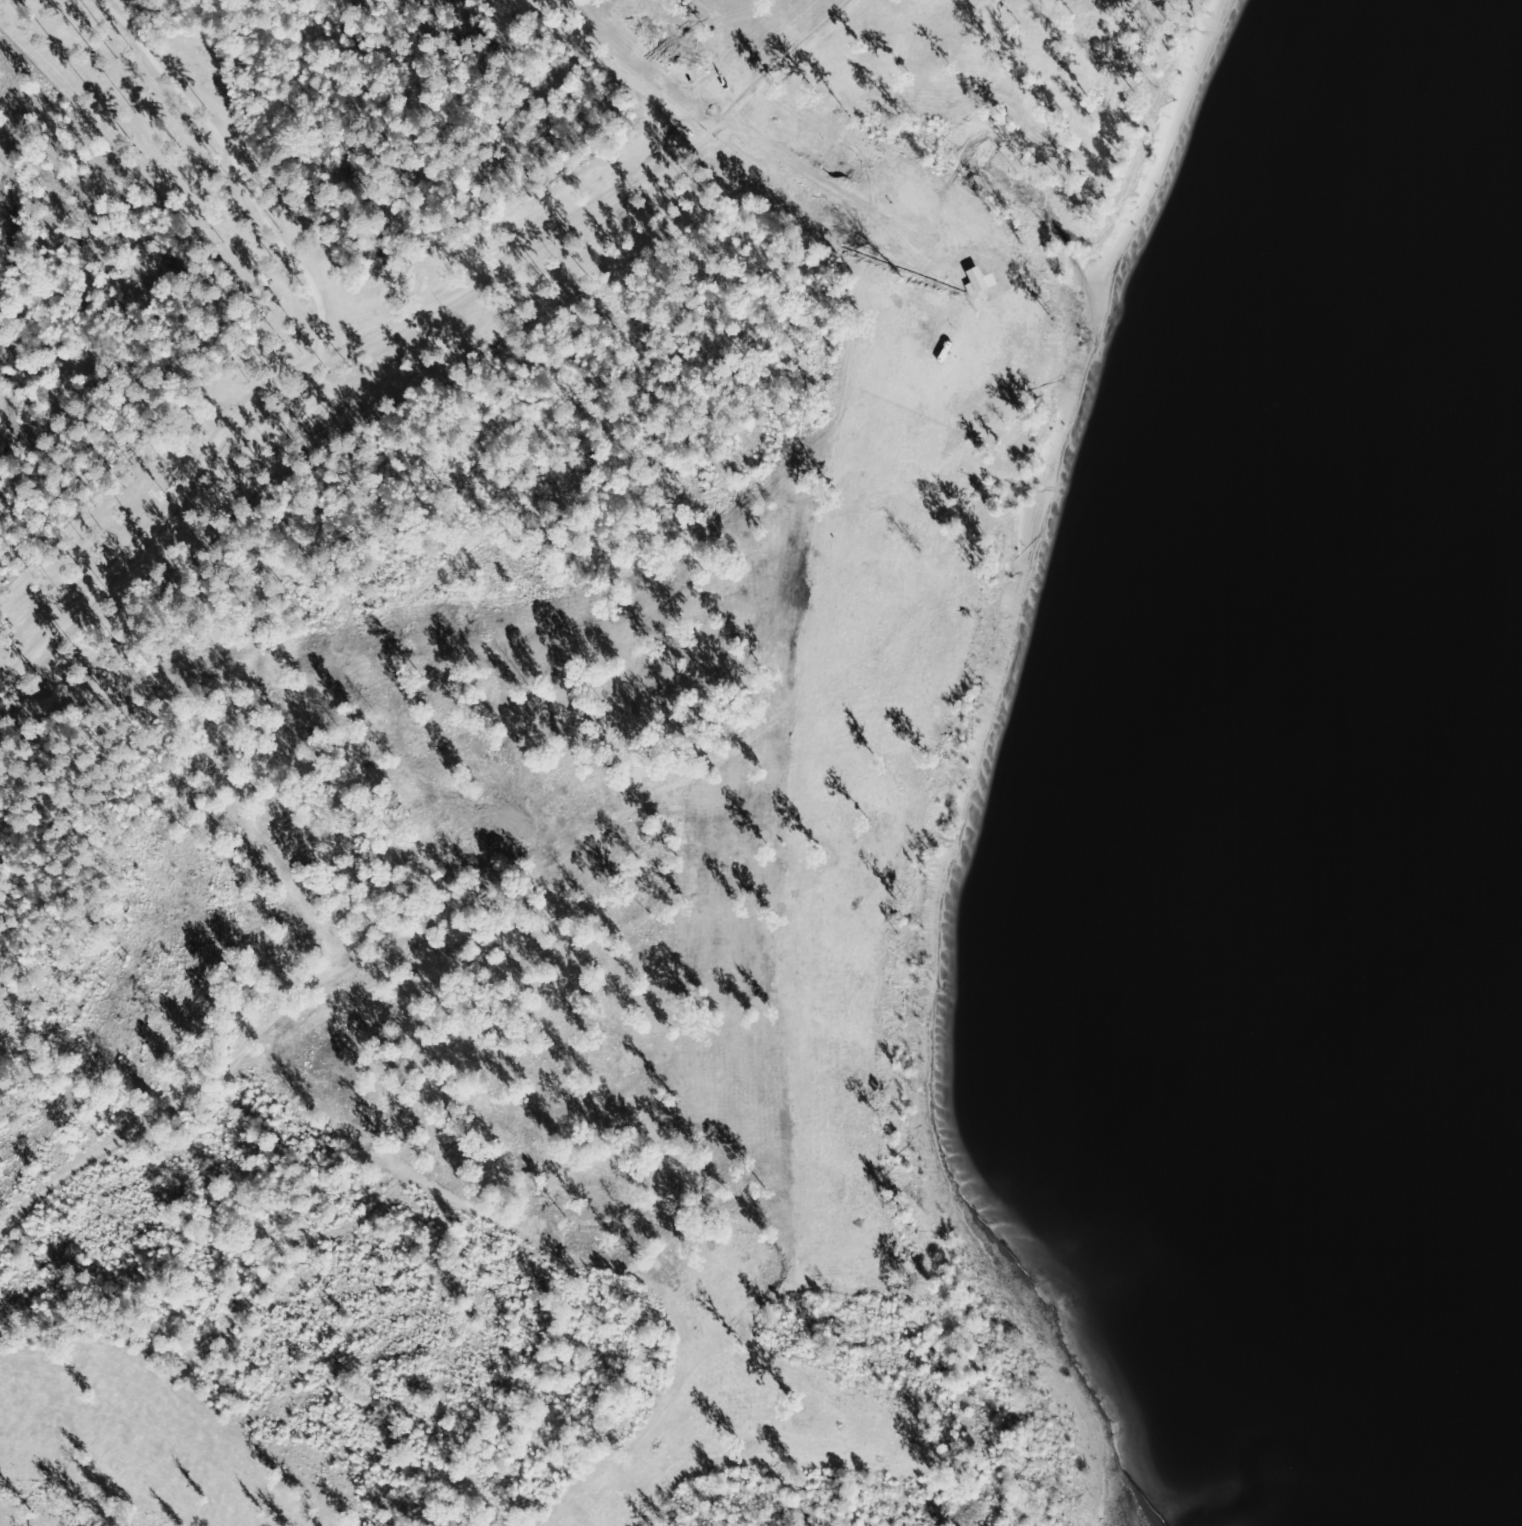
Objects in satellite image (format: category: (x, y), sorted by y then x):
road: (332, 349)

